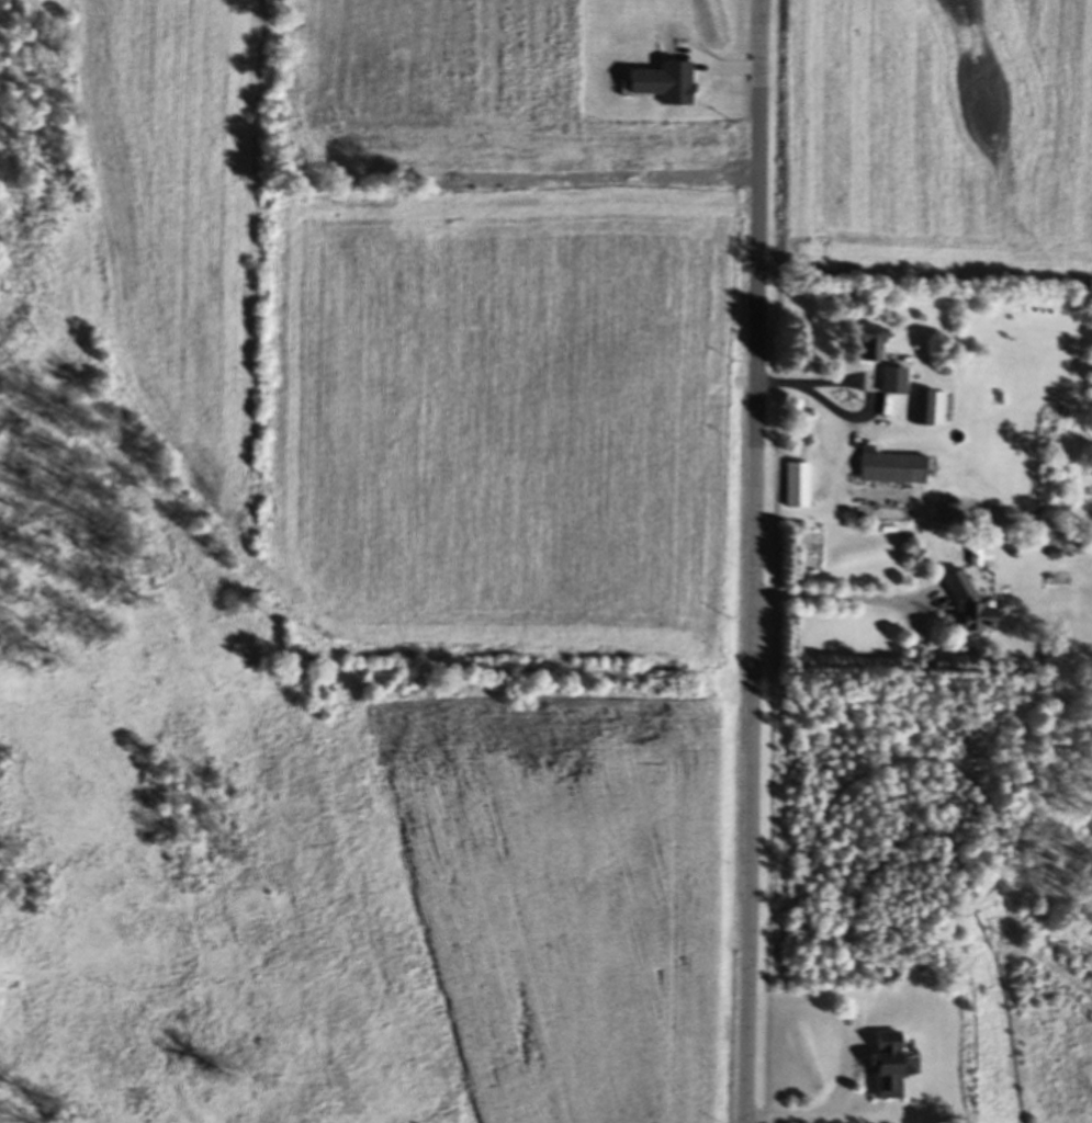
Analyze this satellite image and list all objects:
building: (627, 116)
building: (873, 349)
road: (862, 384)
building: (894, 385)
building: (930, 410)
building: (892, 470)
building: (798, 489)
road: (756, 561)
road: (826, 599)
building: (970, 611)
building: (889, 1067)
road: (822, 1111)

